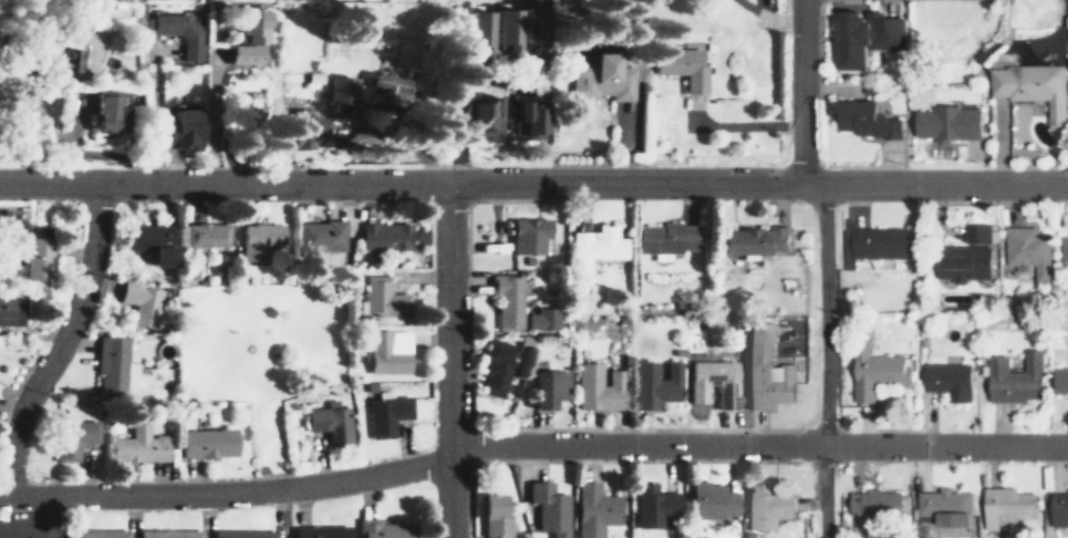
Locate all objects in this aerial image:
building: (533, 28)
building: (505, 29)
building: (176, 30)
building: (477, 32)
building: (242, 35)
building: (861, 37)
building: (66, 60)
building: (676, 65)
building: (594, 79)
building: (338, 87)
building: (381, 89)
building: (1022, 92)
road: (455, 93)
road: (799, 93)
building: (105, 113)
building: (250, 115)
building: (485, 117)
building: (857, 118)
building: (528, 120)
building: (942, 123)
building: (178, 128)
building: (301, 132)
road: (533, 184)
building: (201, 234)
building: (317, 236)
building: (381, 236)
building: (526, 236)
building: (663, 237)
building: (257, 239)
building: (149, 240)
building: (750, 240)
building: (872, 245)
building: (593, 246)
building: (1024, 249)
building: (1061, 249)
building: (961, 256)
building: (31, 258)
building: (380, 298)
building: (505, 300)
building: (138, 302)
building: (9, 310)
building: (540, 318)
road: (59, 341)
building: (385, 351)
park: (260, 353)
road: (448, 361)
road: (823, 361)
building: (108, 363)
building: (494, 366)
building: (761, 369)
building: (874, 372)
building: (1012, 377)
building: (944, 379)
building: (1058, 380)
building: (653, 382)
building: (712, 382)
building: (597, 385)
building: (547, 389)
building: (384, 414)
building: (326, 422)
building: (70, 438)
building: (205, 443)
building: (135, 446)
road: (529, 446)
building: (712, 499)
building: (872, 501)
building: (1004, 506)
building: (653, 507)
building: (941, 507)
building: (547, 508)
building: (765, 508)
building: (1057, 509)
building: (593, 510)
building: (494, 515)
road: (51, 516)
road: (25, 523)
building: (383, 530)
building: (318, 532)
building: (92, 534)
building: (167, 534)
building: (241, 535)

